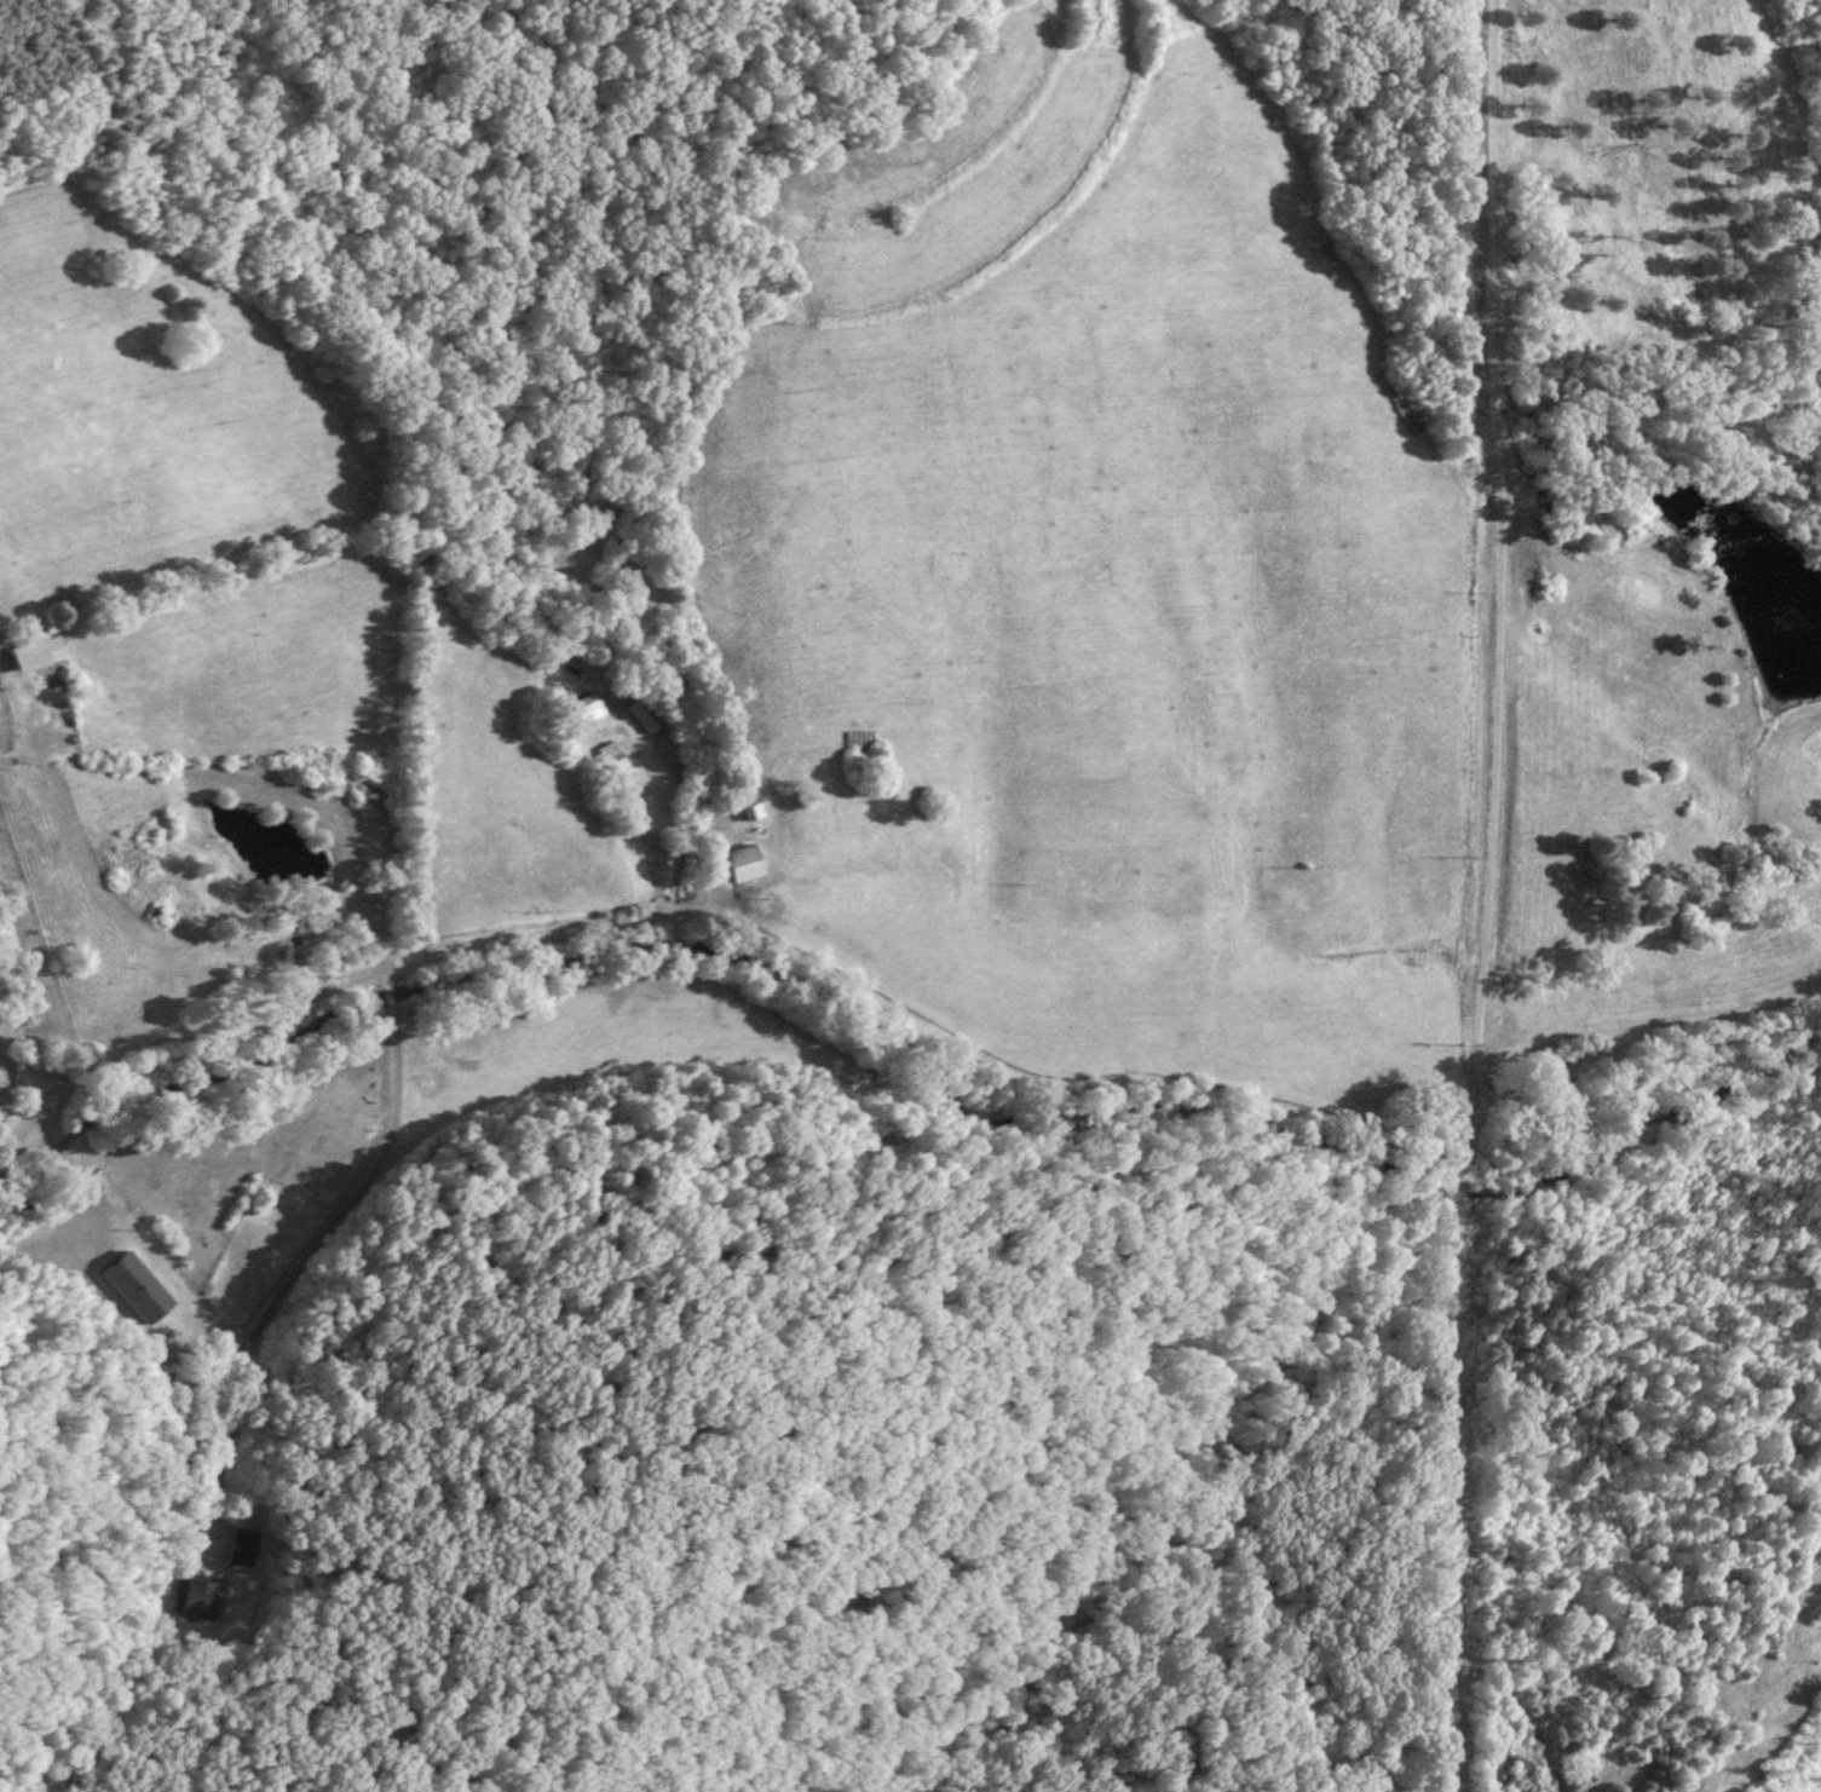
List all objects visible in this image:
road: (1499, 557)
building: (33, 656)
building: (593, 708)
building: (647, 714)
building: (618, 759)
building: (744, 862)
building: (1804, 866)
road: (889, 1002)
road: (36, 1056)
road: (309, 1244)
building: (140, 1287)
road: (196, 1304)
building: (247, 1546)
building: (201, 1595)

